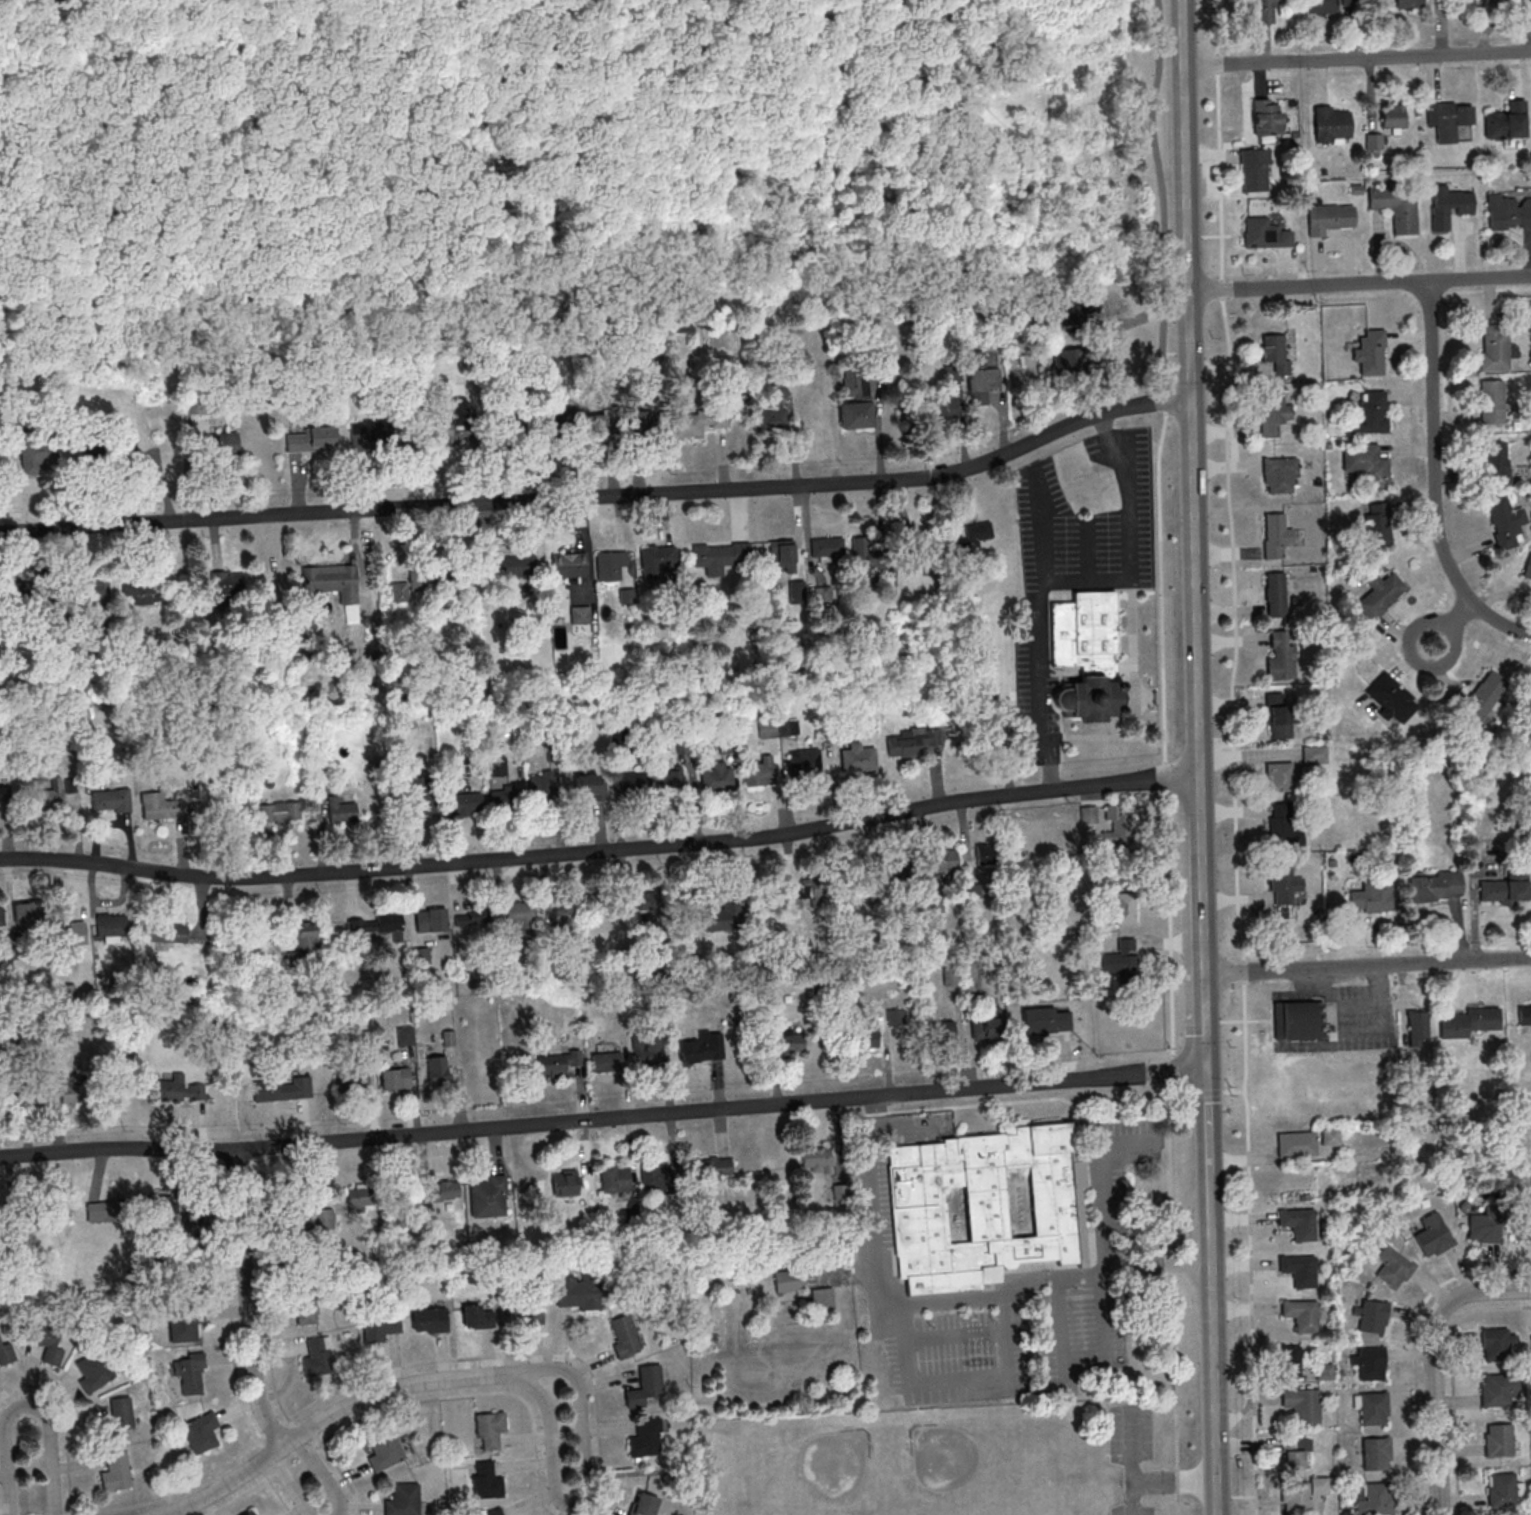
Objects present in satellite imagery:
building: (1409, 3)
building: (1331, 5)
building: (1262, 11)
road: (446, 22)
road: (574, 34)
road: (1356, 57)
road: (182, 98)
building: (1266, 116)
building: (1393, 116)
building: (1449, 119)
building: (1507, 121)
building: (1331, 126)
road: (1060, 135)
building: (1374, 141)
building: (1255, 170)
building: (1395, 205)
building: (1448, 206)
road: (733, 208)
building: (1507, 211)
building: (1326, 217)
building: (1264, 235)
road: (1359, 285)
building: (1078, 310)
building: (1492, 347)
building: (1274, 350)
building: (1368, 350)
building: (1074, 359)
building: (981, 378)
building: (856, 383)
road: (1163, 396)
road: (1192, 396)
building: (1493, 402)
building: (943, 407)
building: (1367, 412)
building: (1273, 413)
building: (856, 414)
building: (775, 415)
building: (809, 416)
building: (697, 422)
building: (588, 425)
building: (312, 441)
building: (446, 441)
building: (369, 443)
building: (224, 444)
building: (140, 454)
building: (38, 455)
building: (91, 455)
building: (1497, 460)
building: (1364, 463)
building: (1279, 475)
road: (1434, 480)
building: (1089, 487)
road: (602, 496)
building: (1505, 522)
building: (1379, 529)
building: (1277, 534)
road: (1127, 535)
building: (971, 542)
building: (827, 547)
road: (1085, 549)
building: (917, 553)
building: (783, 554)
building: (719, 556)
building: (865, 556)
building: (656, 560)
building: (511, 566)
building: (570, 566)
building: (1526, 566)
building: (610, 567)
building: (285, 574)
building: (429, 574)
building: (227, 581)
building: (343, 581)
building: (89, 588)
building: (797, 589)
building: (17, 590)
building: (142, 590)
building: (1275, 594)
building: (1378, 596)
building: (579, 614)
road: (1450, 623)
road: (1033, 629)
building: (1281, 655)
building: (1088, 656)
building: (365, 684)
building: (993, 691)
building: (1484, 695)
building: (7, 697)
building: (1388, 697)
building: (1282, 715)
building: (997, 726)
building: (768, 728)
building: (932, 739)
building: (905, 744)
building: (1315, 754)
road: (1231, 757)
building: (858, 758)
building: (804, 762)
building: (497, 766)
building: (449, 768)
building: (760, 772)
building: (1280, 776)
building: (717, 777)
building: (670, 780)
building: (635, 781)
building: (540, 785)
building: (590, 786)
building: (54, 793)
building: (510, 794)
building: (419, 796)
building: (111, 800)
building: (467, 804)
building: (162, 806)
building: (340, 810)
building: (279, 811)
building: (1284, 825)
building: (1118, 826)
road: (601, 851)
building: (986, 854)
building: (941, 859)
building: (1284, 883)
building: (1435, 886)
building: (1506, 887)
building: (816, 894)
building: (1371, 897)
building: (794, 900)
building: (935, 903)
building: (651, 906)
building: (1123, 907)
building: (1, 915)
building: (519, 915)
building: (471, 916)
building: (562, 916)
building: (722, 916)
road: (1358, 917)
building: (431, 920)
road: (1201, 920)
building: (112, 925)
building: (390, 925)
building: (360, 928)
building: (165, 932)
building: (71, 933)
building: (307, 934)
building: (257, 942)
building: (421, 956)
building: (1123, 959)
road: (1366, 965)
building: (951, 977)
building: (973, 982)
building: (896, 1017)
building: (1523, 1017)
building: (1047, 1020)
building: (1299, 1020)
building: (1466, 1021)
building: (990, 1024)
building: (1418, 1027)
building: (941, 1032)
building: (865, 1034)
building: (406, 1035)
building: (792, 1041)
building: (702, 1048)
building: (647, 1050)
road: (1204, 1057)
building: (607, 1061)
building: (557, 1064)
traffic signals: (1204, 1066)
building: (438, 1069)
building: (396, 1078)
building: (353, 1081)
building: (76, 1088)
building: (282, 1089)
building: (179, 1090)
building: (42, 1091)
road: (859, 1112)
road: (602, 1117)
road: (1205, 1117)
building: (1330, 1137)
building: (1298, 1144)
building: (816, 1159)
building: (713, 1168)
building: (615, 1179)
building: (656, 1179)
building: (440, 1191)
building: (553, 1192)
road: (1207, 1193)
building: (488, 1196)
building: (362, 1199)
building: (985, 1207)
building: (109, 1211)
building: (171, 1217)
building: (323, 1219)
building: (1296, 1222)
building: (1522, 1228)
building: (1485, 1229)
building: (1434, 1235)
road: (1108, 1263)
building: (1394, 1267)
building: (1296, 1268)
building: (789, 1281)
road: (999, 1292)
building: (581, 1297)
road: (248, 1300)
building: (823, 1301)
building: (526, 1312)
building: (307, 1313)
road: (1002, 1313)
building: (1298, 1313)
building: (478, 1316)
building: (1373, 1316)
building: (430, 1320)
building: (185, 1324)
building: (381, 1328)
building: (625, 1335)
road: (983, 1335)
building: (44, 1337)
building: (1498, 1343)
road: (1413, 1348)
building: (7, 1351)
building: (318, 1357)
building: (1290, 1359)
building: (1370, 1362)
road: (1432, 1363)
road: (1211, 1365)
road: (394, 1367)
building: (93, 1369)
building: (191, 1373)
road: (1450, 1377)
road: (926, 1382)
building: (647, 1388)
building: (1498, 1389)
road: (381, 1391)
building: (1300, 1403)
road: (24, 1404)
building: (1372, 1408)
road: (366, 1415)
building: (116, 1418)
road: (63, 1427)
building: (493, 1430)
building: (201, 1432)
parking lot: (1131, 1435)
building: (647, 1438)
building: (1500, 1440)
road: (534, 1447)
building: (1295, 1450)
building: (385, 1451)
building: (1377, 1453)
park: (953, 1461)
road: (1131, 1462)
building: (117, 1471)
park: (972, 1473)
road: (320, 1474)
park: (812, 1480)
building: (486, 1481)
road: (1172, 1482)
road: (223, 1483)
road: (289, 1483)
building: (1503, 1489)
road: (584, 1490)
building: (1301, 1495)
road: (277, 1496)
road: (235, 1497)
building: (1374, 1499)
building: (405, 1500)
building: (644, 1504)
parking lot: (1134, 1510)
building: (494, 1512)
building: (252, 1513)

